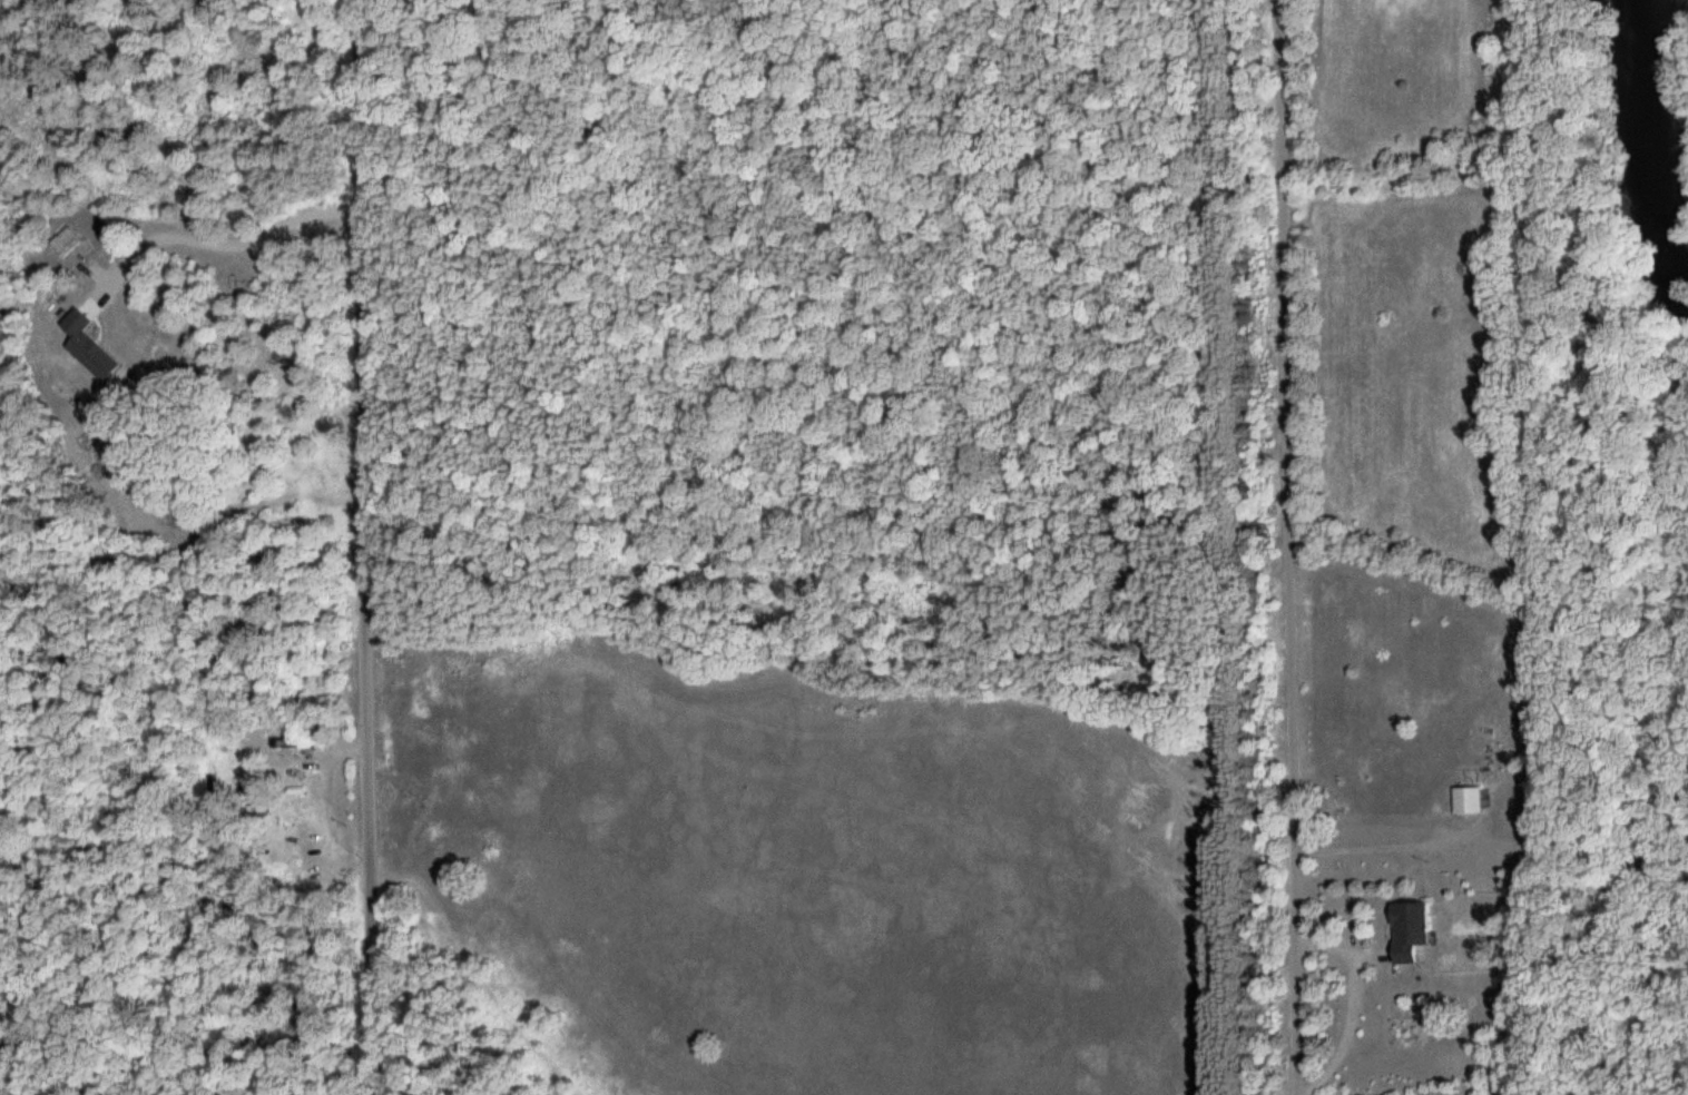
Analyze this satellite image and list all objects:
river: (1658, 158)
road: (366, 547)
road: (1288, 547)
building: (296, 744)
building: (1466, 800)
building: (1409, 930)

